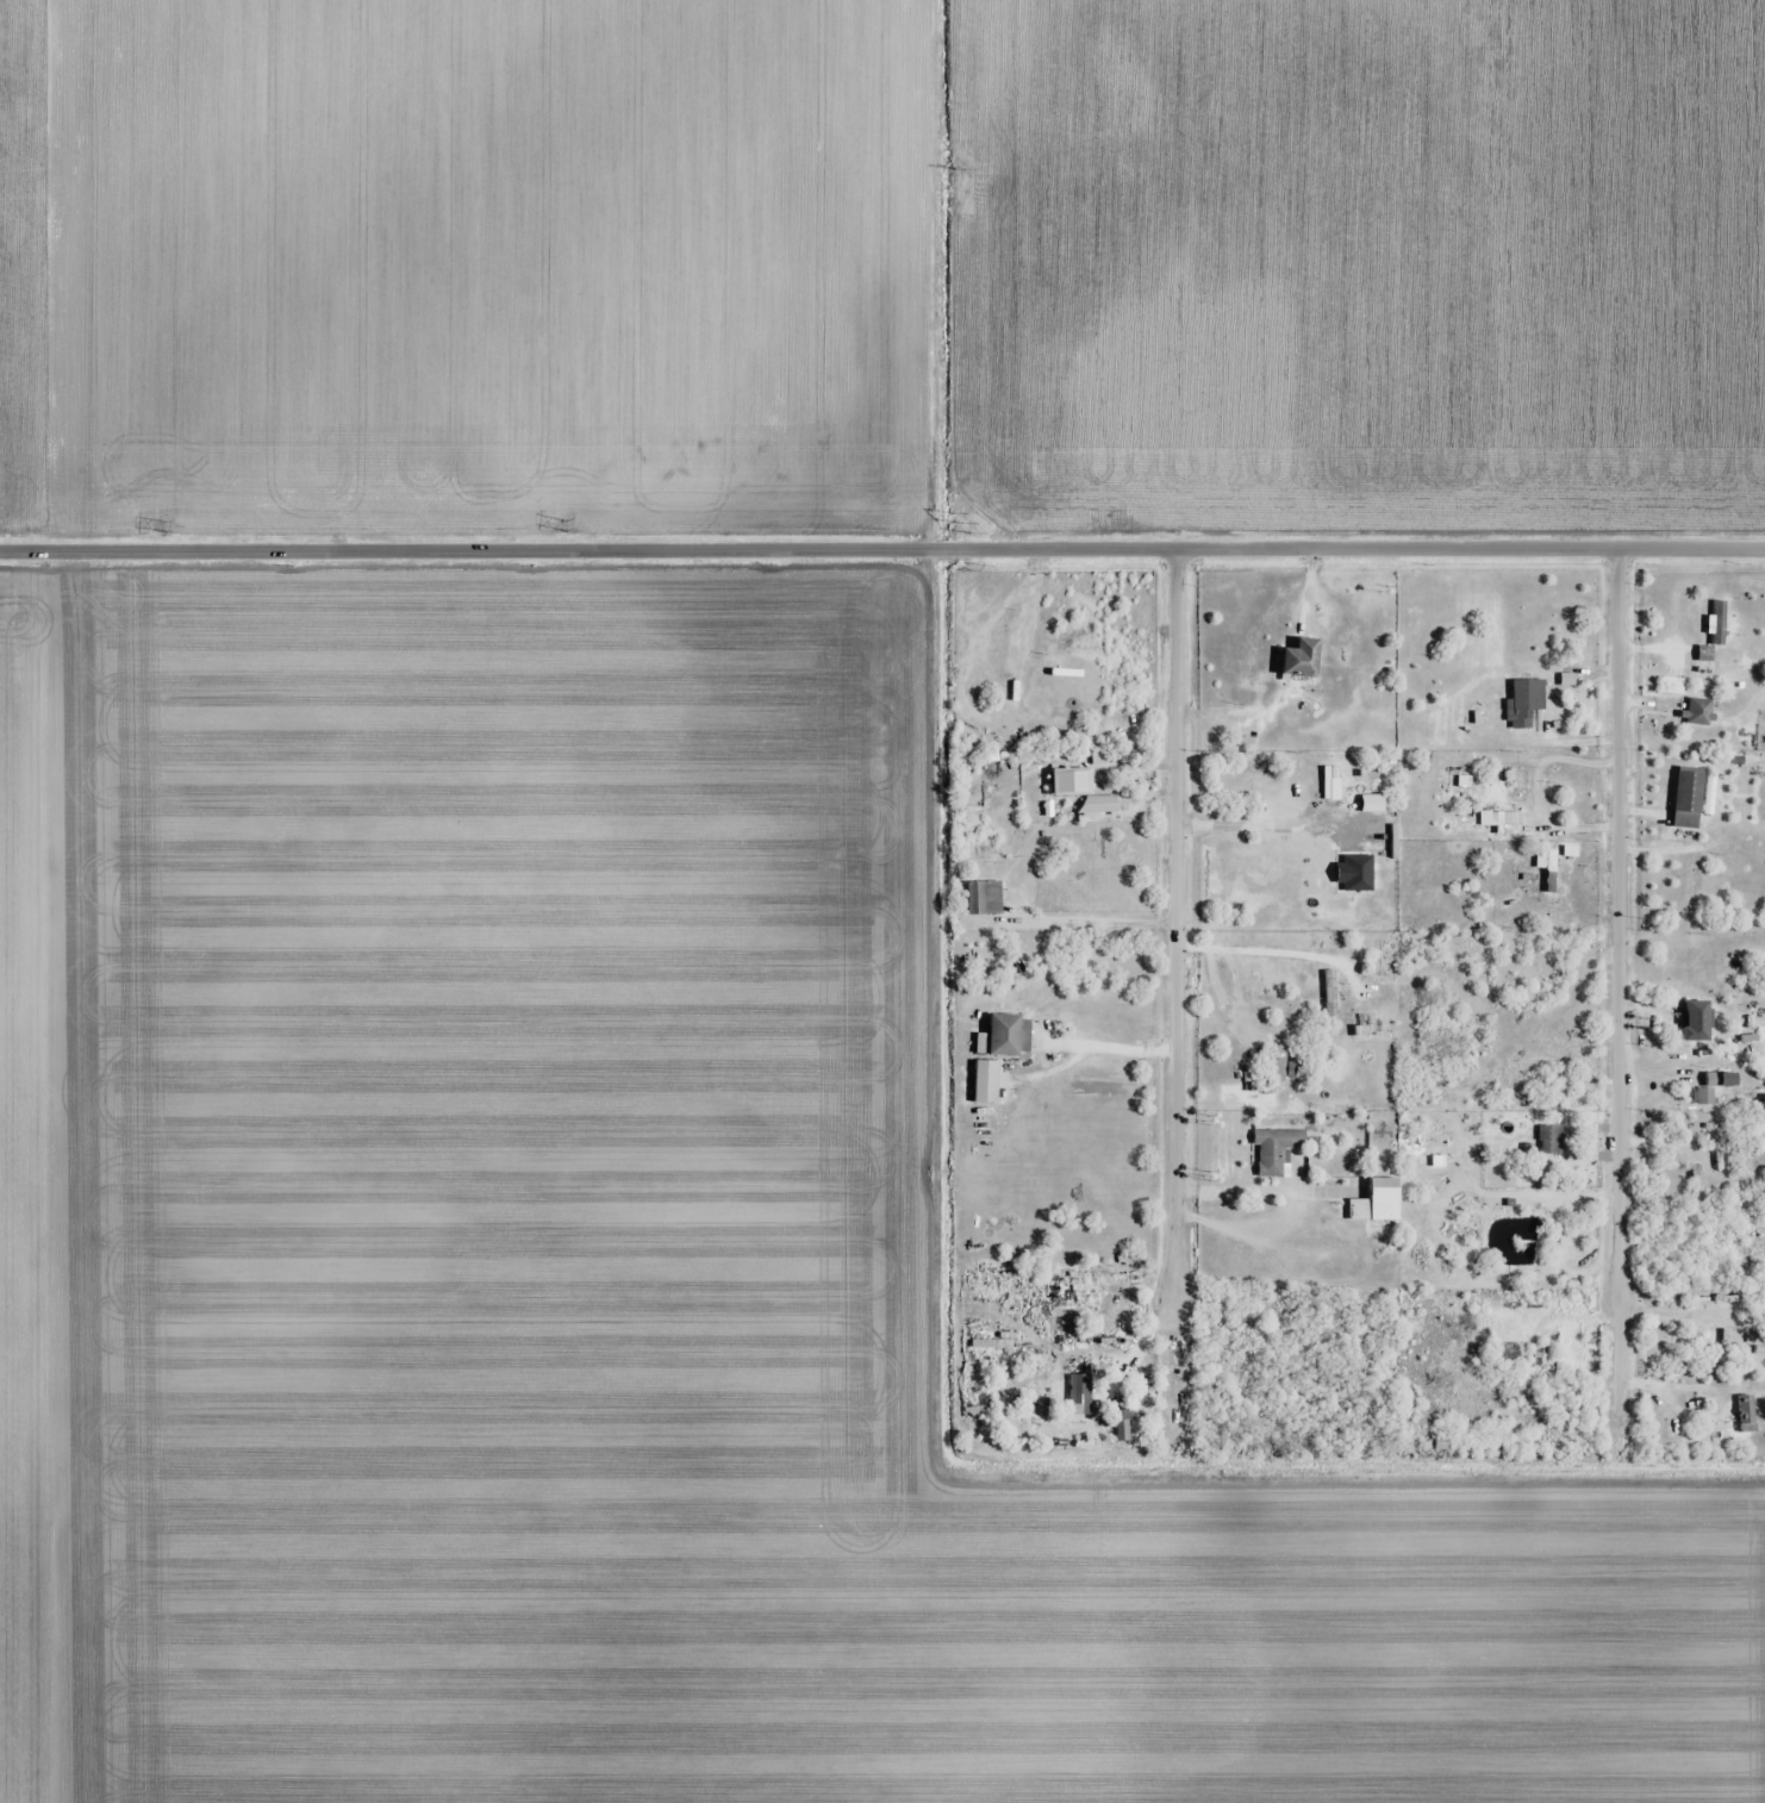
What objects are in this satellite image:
power tower: (961, 171)
power tower: (960, 520)
power tower: (164, 525)
power tower: (563, 525)
road: (883, 550)
building: (1715, 629)
building: (1302, 659)
building: (1527, 700)
building: (1699, 712)
building: (1072, 782)
building: (1333, 784)
building: (1689, 799)
building: (1552, 872)
building: (1694, 882)
building: (986, 898)
road: (1619, 923)
road: (1175, 925)
building: (1697, 1022)
building: (987, 1081)
building: (1704, 1097)
building: (1552, 1141)
building: (1277, 1149)
building: (1378, 1203)
building: (1727, 1348)
building: (1760, 1350)
building: (1514, 1354)
building: (1540, 1356)
building: (1087, 1402)
building: (1747, 1414)
building: (1669, 1417)
building: (1654, 1423)
building: (1125, 1427)
building: (1442, 1445)

